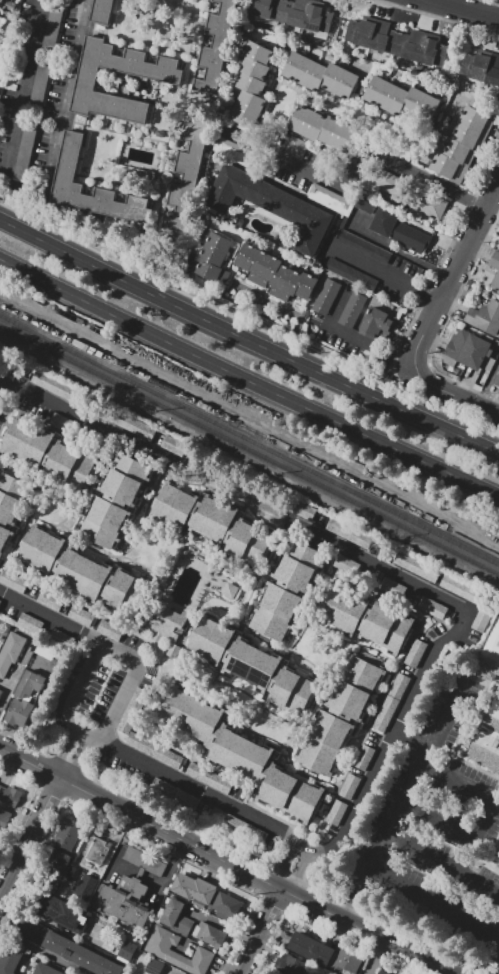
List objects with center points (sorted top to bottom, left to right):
building: (1, 1)
road: (452, 2)
road: (491, 2)
building: (275, 8)
road: (466, 8)
building: (102, 11)
building: (299, 14)
road: (435, 17)
building: (318, 18)
building: (54, 24)
parking lot: (54, 24)
building: (361, 31)
building: (383, 37)
building: (409, 44)
building: (216, 46)
building: (433, 51)
building: (481, 66)
building: (320, 75)
building: (165, 77)
building: (0, 83)
building: (252, 85)
parking lot: (39, 91)
building: (403, 101)
building: (477, 119)
building: (32, 120)
parking lot: (32, 120)
building: (324, 129)
building: (469, 135)
building: (296, 147)
building: (459, 151)
building: (69, 157)
building: (326, 161)
building: (449, 167)
road: (353, 169)
building: (187, 174)
building: (382, 182)
road: (30, 185)
building: (332, 200)
building: (271, 205)
building: (431, 205)
building: (384, 221)
building: (410, 237)
building: (365, 247)
parking lot: (365, 247)
road: (403, 253)
road: (444, 256)
building: (214, 257)
road: (381, 271)
road: (451, 272)
building: (275, 273)
building: (351, 274)
parking lot: (351, 274)
building: (496, 278)
building: (326, 296)
road: (189, 297)
building: (352, 309)
road: (186, 310)
building: (485, 317)
road: (443, 324)
building: (378, 325)
road: (355, 338)
building: (466, 350)
building: (488, 363)
railway: (122, 364)
road: (422, 366)
road: (391, 368)
road: (404, 371)
road: (248, 380)
building: (496, 380)
road: (489, 382)
road: (2, 384)
road: (494, 385)
road: (4, 386)
building: (56, 388)
road: (454, 392)
road: (77, 413)
building: (62, 422)
building: (131, 424)
road: (437, 426)
building: (27, 440)
railway: (249, 440)
railway: (249, 449)
building: (48, 454)
building: (69, 466)
building: (126, 478)
road: (217, 491)
building: (12, 496)
building: (115, 500)
building: (173, 505)
building: (301, 509)
building: (194, 513)
building: (214, 518)
building: (104, 522)
building: (4, 523)
building: (231, 530)
building: (352, 534)
building: (4, 536)
building: (249, 543)
building: (40, 549)
building: (59, 561)
building: (299, 565)
building: (346, 565)
building: (415, 567)
building: (82, 574)
building: (13, 581)
building: (107, 584)
building: (288, 586)
building: (393, 587)
building: (230, 590)
building: (127, 593)
building: (49, 600)
building: (471, 600)
building: (432, 607)
building: (341, 608)
building: (276, 612)
building: (80, 616)
building: (364, 618)
building: (29, 622)
building: (166, 625)
building: (387, 628)
building: (109, 630)
building: (60, 638)
building: (210, 639)
road: (105, 647)
building: (490, 647)
building: (10, 649)
building: (43, 650)
building: (228, 650)
building: (415, 653)
road: (35, 654)
road: (40, 656)
road: (46, 659)
road: (52, 662)
road: (56, 664)
building: (252, 664)
road: (16, 671)
building: (275, 679)
building: (28, 684)
building: (354, 686)
building: (0, 690)
building: (293, 692)
road: (38, 699)
building: (390, 702)
building: (17, 711)
building: (190, 714)
building: (340, 714)
building: (129, 715)
road: (443, 721)
building: (217, 733)
road: (412, 738)
building: (487, 738)
building: (324, 742)
road: (63, 749)
building: (153, 751)
building: (241, 754)
road: (78, 756)
building: (363, 757)
building: (265, 773)
building: (208, 778)
building: (0, 785)
building: (349, 786)
building: (162, 788)
road: (476, 789)
building: (291, 794)
building: (10, 795)
building: (185, 800)
building: (336, 812)
building: (4, 817)
road: (349, 817)
building: (233, 825)
building: (0, 833)
building: (68, 833)
road: (30, 836)
road: (399, 839)
road: (156, 841)
building: (98, 850)
road: (225, 859)
building: (144, 860)
building: (58, 861)
road: (284, 865)
building: (70, 873)
building: (139, 873)
road: (298, 873)
road: (138, 875)
road: (158, 882)
building: (52, 883)
building: (85, 887)
building: (132, 887)
building: (194, 888)
building: (122, 905)
building: (225, 905)
road: (431, 908)
building: (64, 913)
building: (176, 916)
road: (55, 925)
road: (221, 926)
road: (259, 931)
building: (209, 934)
building: (66, 947)
building: (312, 948)
building: (126, 949)
building: (160, 951)
road: (42, 953)
road: (374, 956)
building: (9, 959)
building: (346, 962)
building: (291, 965)
building: (154, 966)
building: (45, 969)
road: (174, 972)
building: (382, 972)
building: (318, 973)
building: (322, 973)

